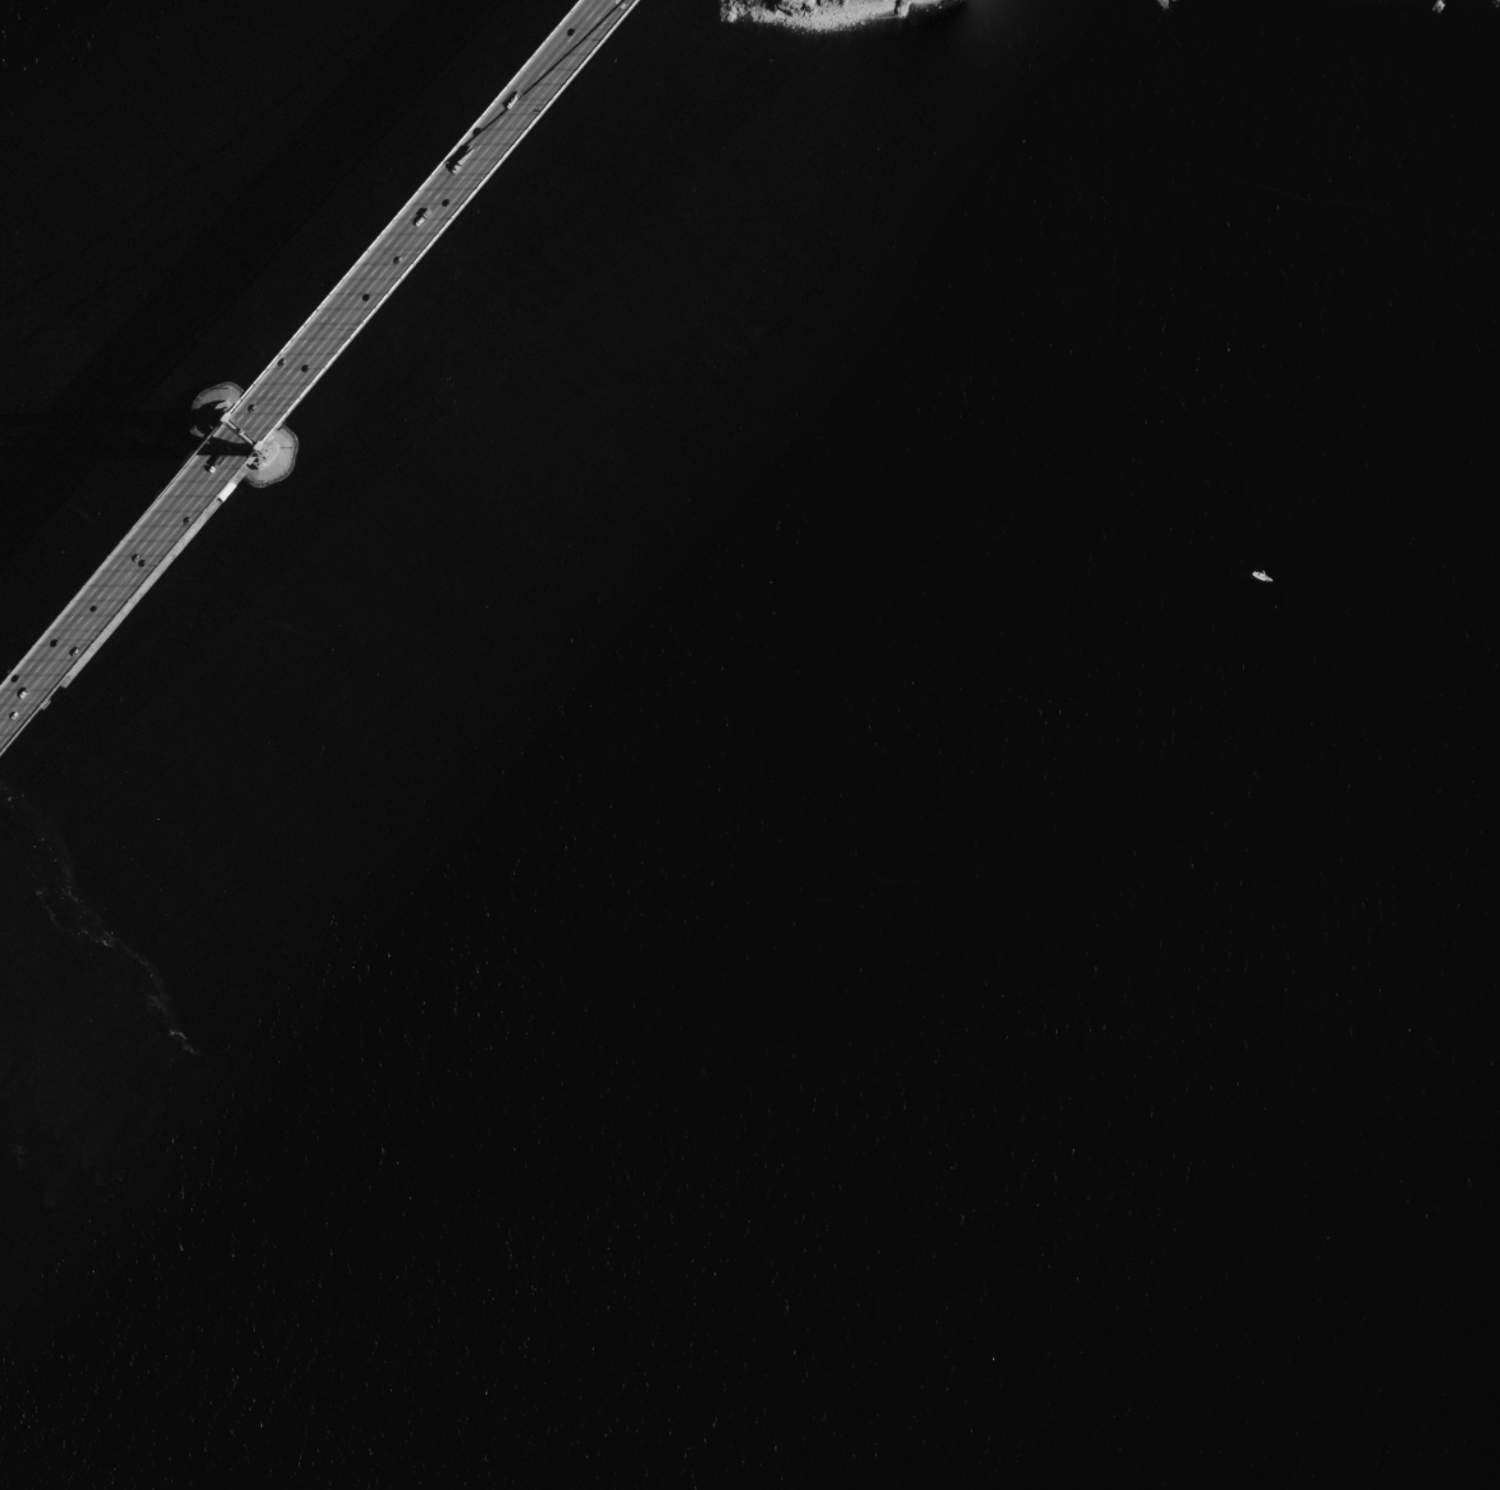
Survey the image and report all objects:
road: (298, 352)
road: (310, 367)
building: (237, 433)
pier: (238, 433)

